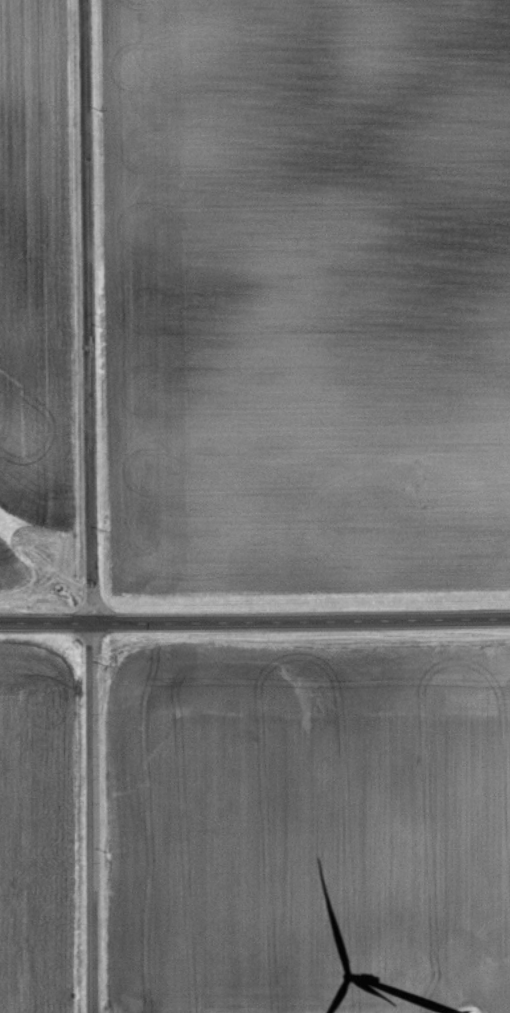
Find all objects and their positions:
road: (91, 506)
road: (255, 619)
wind turbine: (474, 1012)

